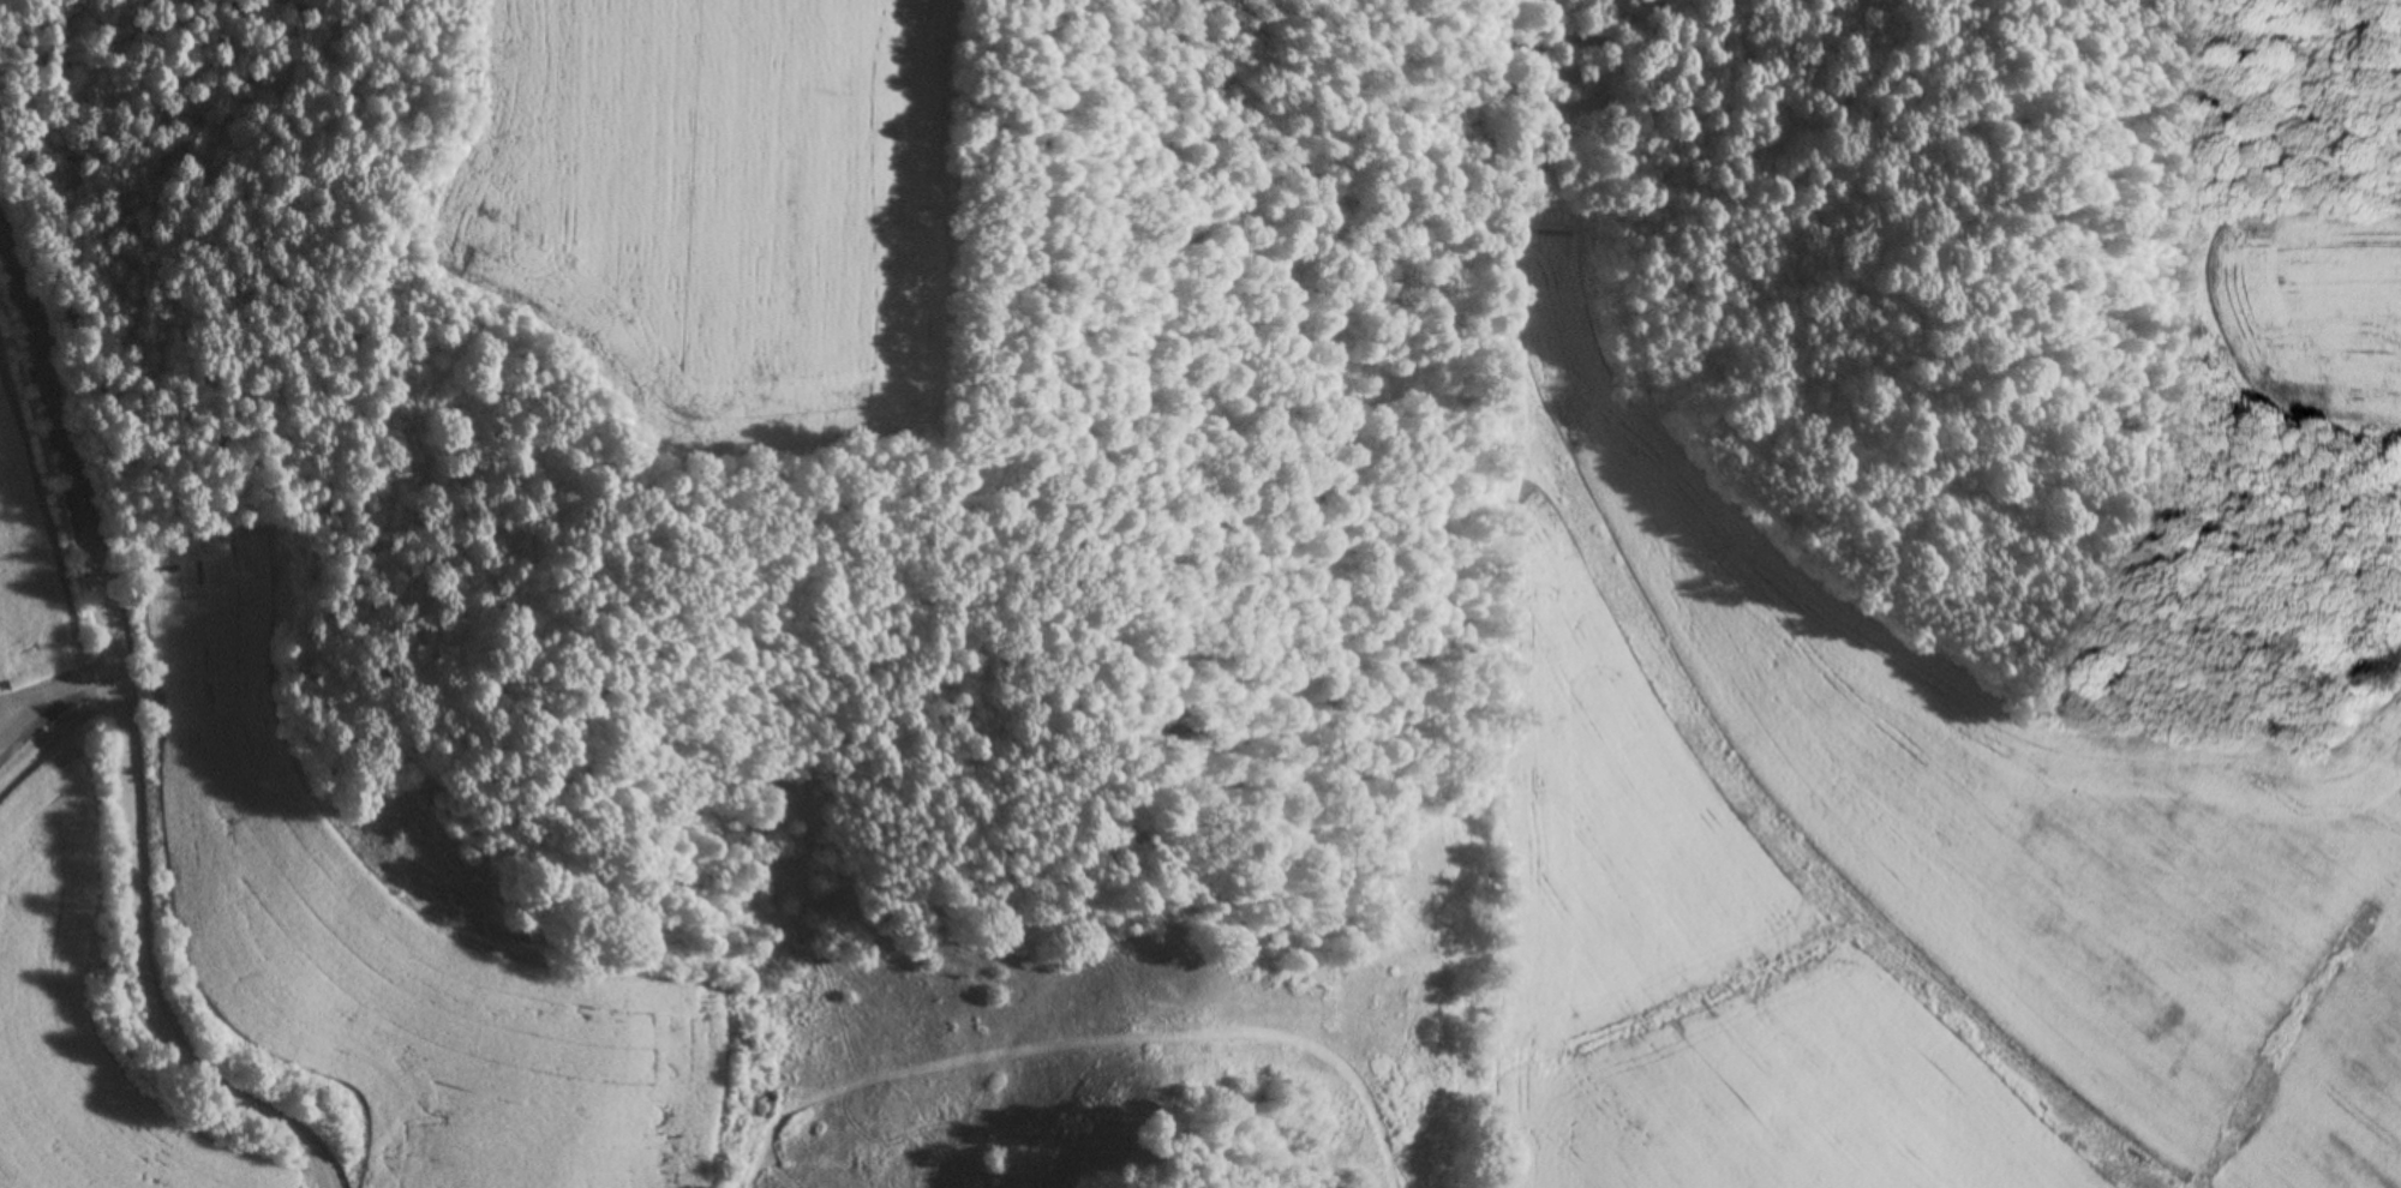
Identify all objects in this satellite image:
crop: (701, 198)
road: (53, 713)
road: (122, 742)
building: (771, 1106)

